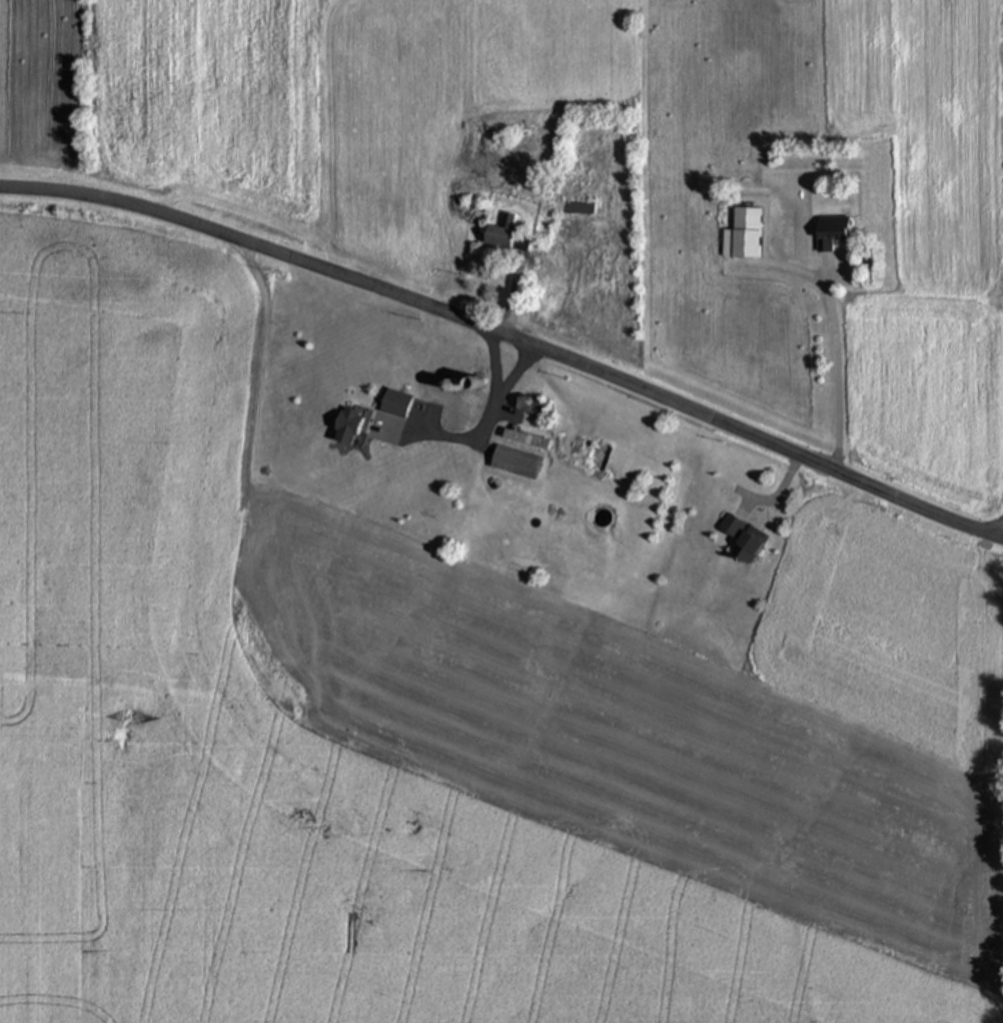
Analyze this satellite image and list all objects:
building: (579, 210)
building: (831, 233)
building: (743, 236)
building: (500, 239)
road: (511, 337)
road: (490, 364)
road: (836, 380)
building: (395, 405)
building: (532, 407)
road: (486, 413)
building: (451, 415)
building: (347, 428)
building: (526, 441)
building: (516, 464)
building: (743, 540)

